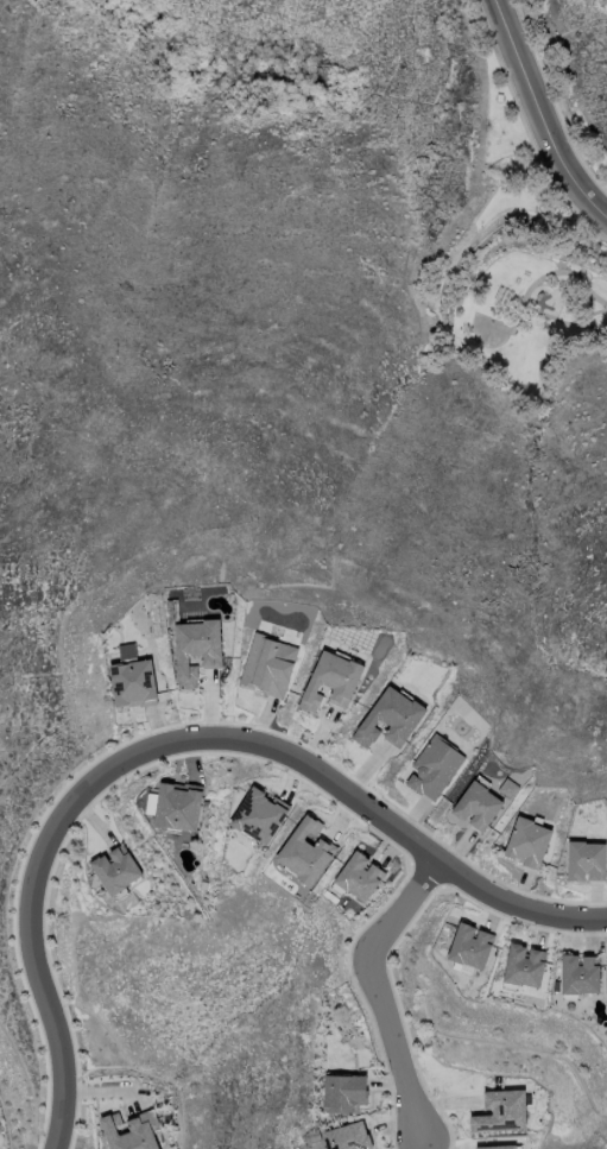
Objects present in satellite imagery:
road: (539, 114)
building: (267, 665)
building: (132, 678)
building: (330, 681)
building: (388, 719)
road: (176, 751)
building: (432, 768)
building: (177, 807)
building: (474, 807)
building: (258, 814)
building: (526, 841)
building: (304, 852)
building: (584, 860)
building: (115, 869)
building: (358, 876)
building: (468, 946)
building: (523, 966)
building: (578, 974)
road: (381, 998)
building: (343, 1093)
building: (500, 1111)
building: (132, 1131)
building: (347, 1136)
building: (497, 1147)

